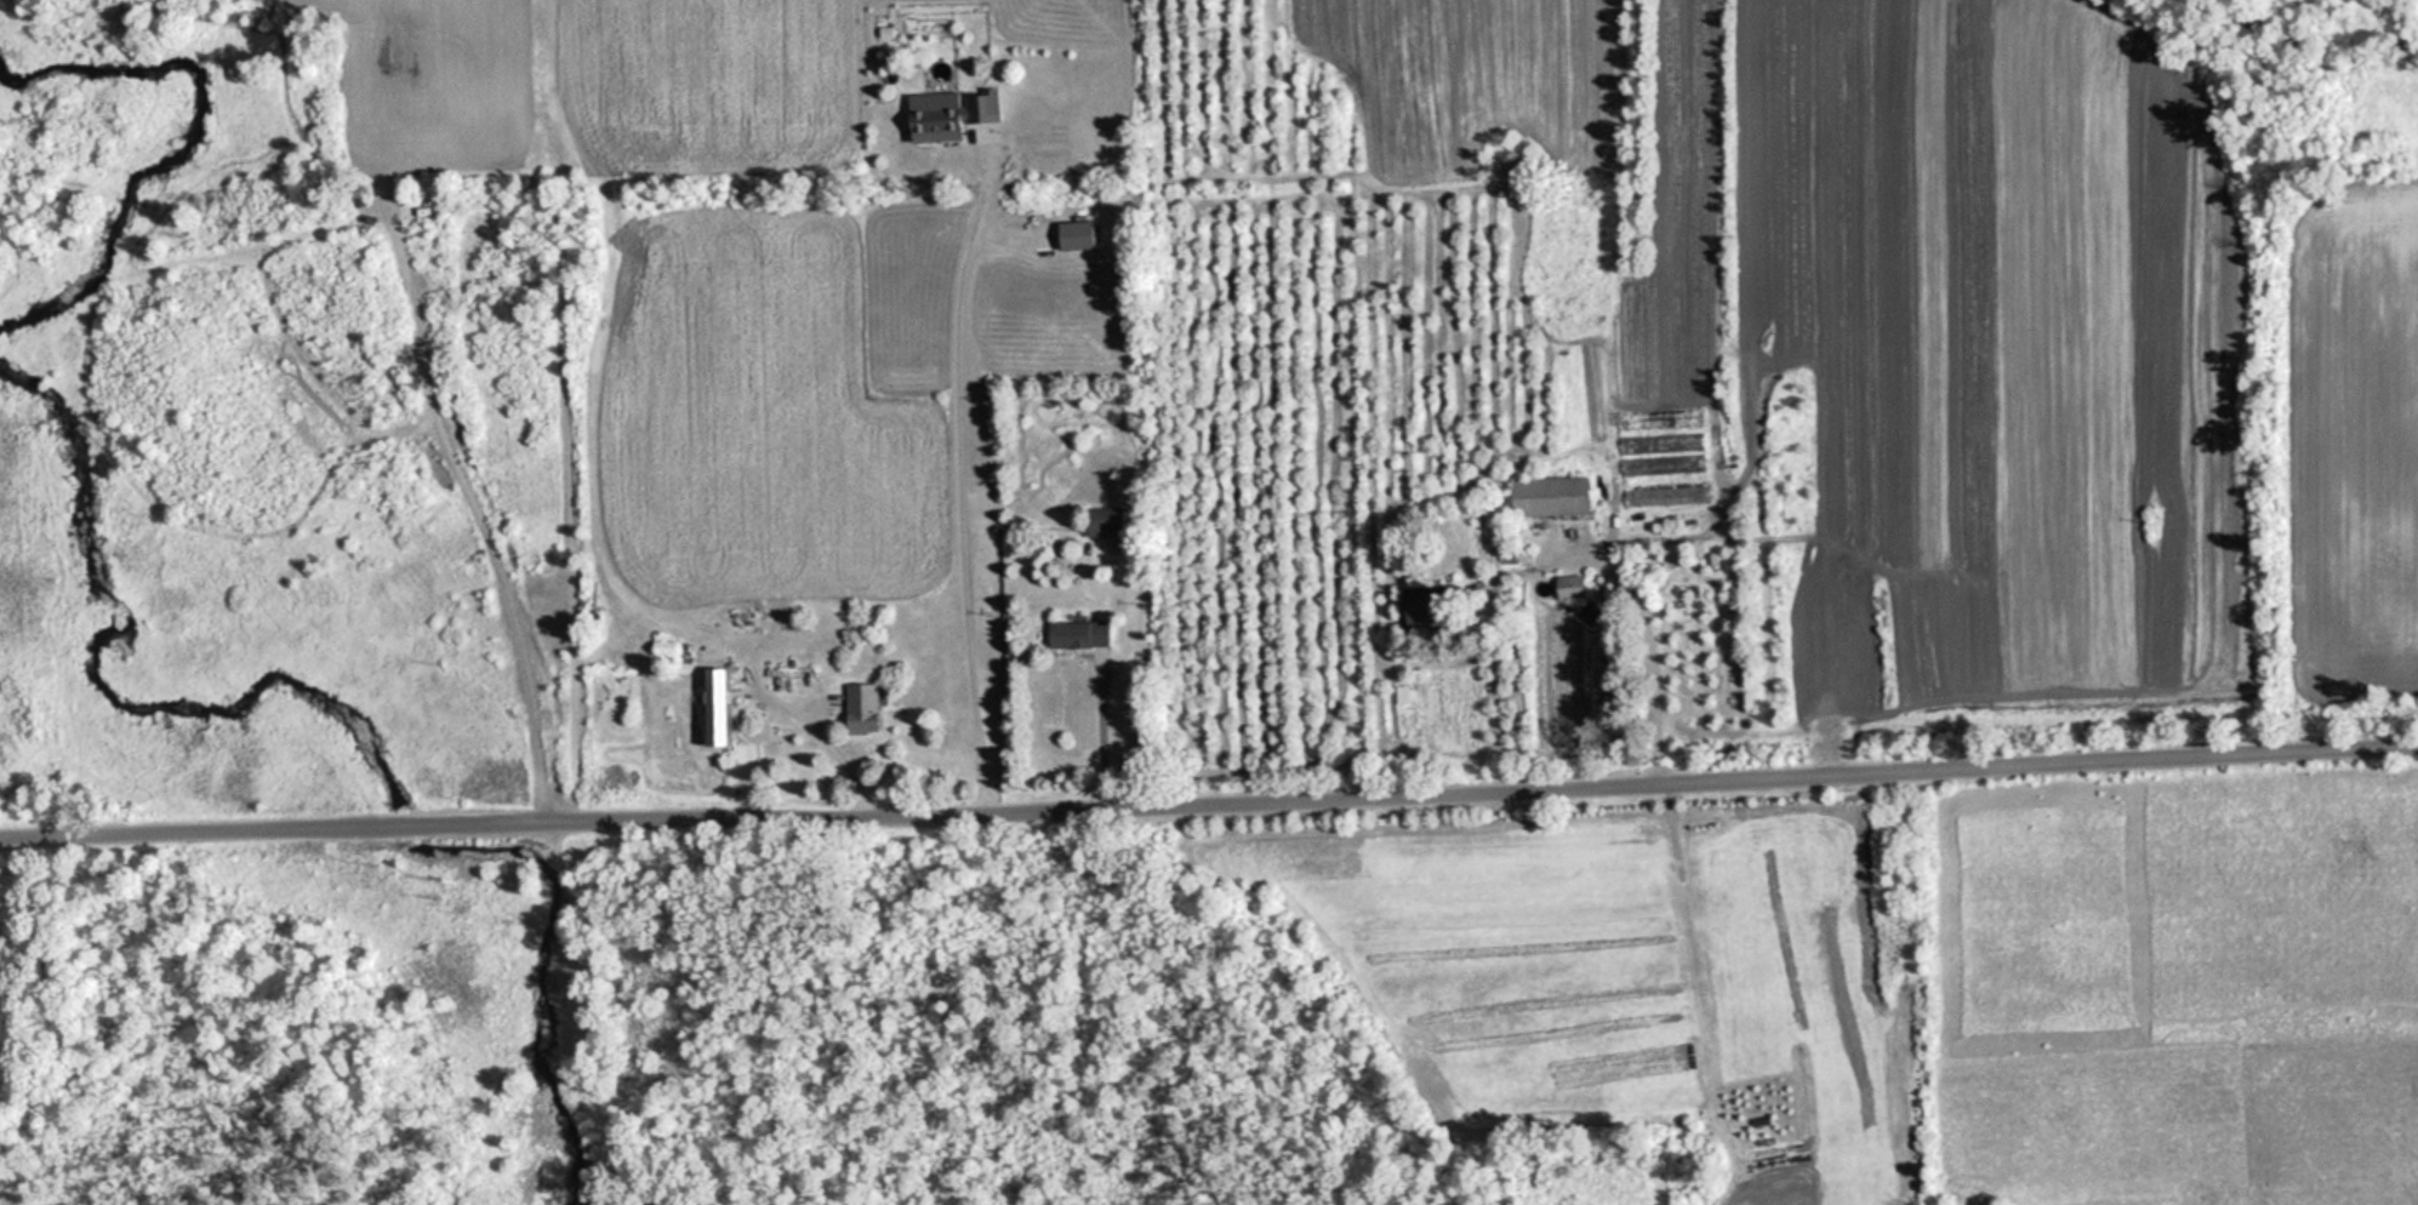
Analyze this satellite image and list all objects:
building: (939, 116)
building: (1569, 412)
building: (1659, 444)
building: (1660, 466)
road: (957, 492)
building: (1542, 496)
building: (1664, 496)
building: (1097, 520)
building: (1561, 586)
building: (1072, 633)
building: (793, 678)
building: (1397, 696)
building: (713, 704)
building: (856, 708)
road: (1209, 796)

